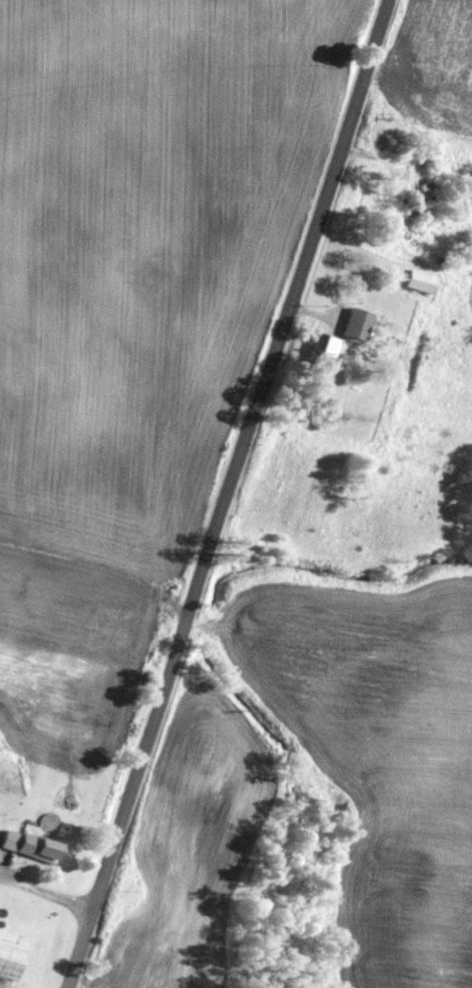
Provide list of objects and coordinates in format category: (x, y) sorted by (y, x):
building: (419, 280)
building: (355, 322)
building: (322, 343)
road: (230, 494)
building: (30, 843)
building: (11, 957)

